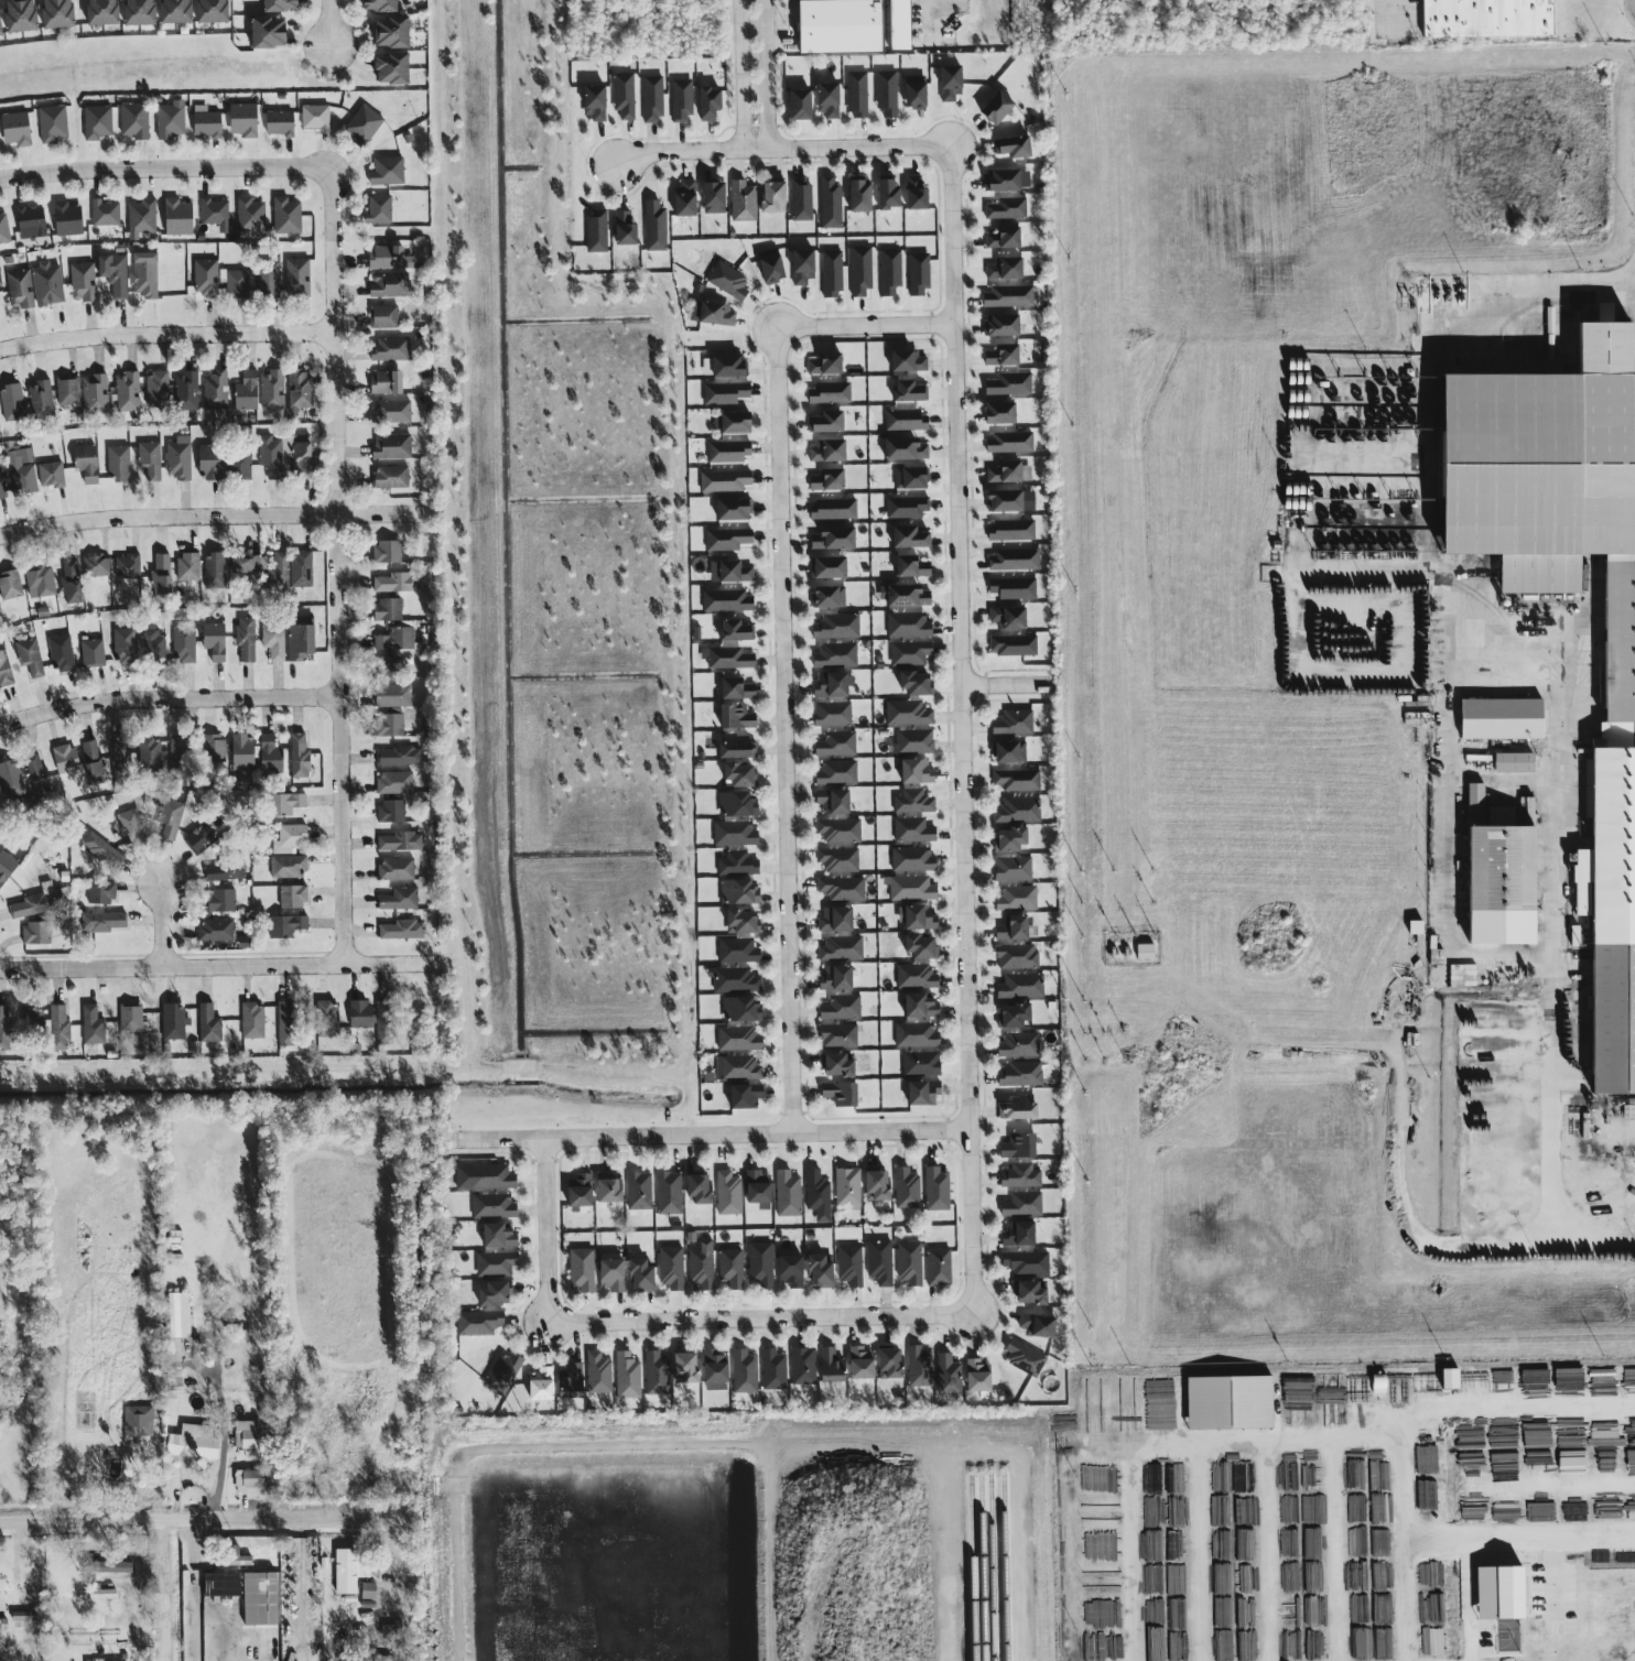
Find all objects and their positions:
building: (277, 2)
building: (381, 6)
building: (99, 10)
building: (173, 10)
building: (207, 10)
building: (55, 11)
building: (137, 11)
road: (1396, 12)
building: (18, 14)
road: (934, 15)
building: (1493, 19)
building: (1, 23)
road: (332, 23)
building: (842, 25)
building: (903, 25)
building: (263, 29)
building: (394, 32)
building: (394, 68)
road: (740, 74)
road: (768, 74)
building: (953, 83)
building: (917, 89)
building: (887, 93)
building: (626, 95)
building: (859, 95)
building: (654, 97)
building: (683, 98)
building: (831, 98)
building: (713, 100)
building: (599, 102)
building: (802, 105)
building: (994, 106)
building: (316, 118)
building: (134, 120)
building: (171, 120)
building: (245, 120)
building: (97, 122)
building: (280, 122)
building: (53, 123)
building: (365, 123)
building: (208, 124)
building: (17, 129)
building: (1016, 145)
road: (782, 146)
road: (166, 163)
building: (387, 171)
building: (1006, 180)
building: (885, 185)
building: (856, 189)
building: (914, 189)
building: (715, 196)
building: (775, 196)
building: (686, 197)
building: (803, 197)
building: (744, 198)
building: (831, 200)
building: (1007, 208)
building: (379, 209)
building: (215, 211)
building: (105, 213)
building: (286, 216)
building: (178, 217)
building: (250, 217)
building: (142, 218)
building: (31, 219)
building: (68, 219)
building: (658, 224)
building: (625, 227)
building: (599, 228)
building: (4, 229)
building: (1008, 237)
building: (390, 258)
building: (804, 265)
building: (773, 267)
building: (1007, 267)
building: (862, 269)
building: (835, 272)
building: (891, 272)
building: (922, 272)
building: (115, 274)
building: (145, 274)
building: (206, 276)
building: (299, 276)
building: (728, 280)
building: (268, 281)
building: (84, 282)
building: (47, 284)
building: (238, 284)
building: (388, 284)
building: (21, 289)
building: (1009, 294)
road: (1545, 310)
building: (714, 313)
building: (385, 317)
building: (1004, 325)
road: (165, 333)
building: (391, 348)
building: (1006, 355)
building: (910, 359)
building: (827, 362)
building: (729, 365)
building: (388, 383)
building: (1010, 383)
building: (301, 387)
building: (158, 390)
building: (272, 390)
building: (910, 390)
building: (68, 391)
building: (186, 391)
building: (215, 391)
building: (248, 391)
building: (128, 392)
building: (727, 392)
building: (831, 393)
building: (95, 394)
building: (41, 401)
building: (12, 402)
building: (391, 412)
building: (1000, 412)
building: (909, 419)
building: (827, 420)
building: (736, 421)
building: (1009, 441)
building: (392, 446)
building: (907, 447)
building: (831, 449)
building: (730, 450)
building: (1536, 455)
building: (271, 457)
building: (178, 458)
building: (150, 459)
building: (304, 459)
building: (212, 462)
building: (87, 463)
building: (119, 463)
building: (240, 465)
building: (21, 469)
building: (1010, 470)
building: (52, 475)
building: (391, 477)
building: (912, 477)
building: (830, 479)
building: (726, 480)
building: (2, 487)
building: (1006, 501)
building: (910, 506)
building: (734, 508)
building: (833, 509)
road: (378, 513)
road: (166, 514)
building: (1011, 529)
building: (912, 535)
building: (835, 536)
building: (730, 539)
building: (388, 553)
building: (1015, 560)
building: (97, 566)
building: (128, 567)
building: (188, 567)
building: (832, 567)
building: (913, 567)
building: (280, 568)
road: (336, 569)
building: (215, 572)
building: (730, 572)
building: (161, 575)
building: (41, 582)
building: (72, 582)
building: (398, 583)
building: (11, 585)
building: (1014, 588)
building: (906, 596)
building: (830, 597)
building: (727, 601)
building: (0, 609)
building: (389, 609)
building: (1009, 617)
building: (909, 625)
building: (838, 627)
building: (737, 631)
building: (247, 639)
building: (302, 639)
building: (274, 640)
building: (397, 640)
road: (784, 640)
building: (215, 641)
building: (184, 644)
building: (123, 645)
building: (151, 645)
building: (1014, 645)
building: (62, 652)
building: (93, 652)
building: (910, 653)
building: (836, 655)
building: (30, 656)
building: (728, 659)
building: (388, 666)
building: (4, 671)
building: (918, 683)
building: (834, 685)
road: (1007, 687)
building: (739, 690)
road: (167, 696)
building: (394, 696)
building: (908, 713)
building: (833, 714)
building: (737, 717)
building: (1506, 719)
building: (1015, 723)
building: (390, 725)
road: (963, 729)
building: (913, 742)
building: (837, 745)
building: (215, 747)
building: (739, 747)
building: (180, 751)
building: (1011, 752)
building: (245, 753)
building: (152, 754)
building: (271, 756)
building: (300, 756)
building: (400, 756)
building: (67, 759)
building: (120, 759)
building: (94, 762)
building: (1518, 762)
building: (918, 772)
building: (837, 773)
building: (741, 774)
building: (11, 780)
building: (1017, 780)
building: (393, 795)
road: (1448, 795)
building: (835, 802)
building: (913, 802)
building: (289, 804)
building: (738, 804)
building: (1019, 811)
building: (170, 819)
building: (133, 828)
building: (840, 830)
building: (913, 830)
building: (735, 834)
building: (291, 838)
building: (1011, 839)
building: (197, 840)
building: (401, 842)
building: (102, 850)
building: (913, 859)
building: (838, 860)
building: (738, 864)
building: (289, 867)
building: (1014, 868)
building: (7, 869)
building: (397, 869)
building: (227, 870)
building: (1505, 877)
building: (843, 889)
building: (912, 889)
building: (102, 892)
building: (740, 892)
building: (293, 897)
building: (400, 899)
building: (1017, 899)
building: (223, 901)
building: (34, 904)
building: (918, 918)
building: (837, 920)
building: (104, 922)
building: (744, 922)
road: (164, 925)
building: (286, 926)
building: (1418, 927)
building: (1015, 929)
building: (402, 930)
building: (216, 931)
building: (37, 933)
building: (923, 947)
building: (842, 948)
building: (738, 952)
building: (1147, 952)
building: (1017, 956)
road: (215, 965)
building: (917, 977)
building: (837, 978)
building: (735, 980)
road: (1551, 980)
building: (1022, 987)
building: (922, 1006)
building: (841, 1008)
building: (743, 1010)
building: (361, 1014)
building: (1016, 1016)
building: (131, 1018)
building: (327, 1019)
building: (32, 1021)
building: (173, 1021)
building: (253, 1021)
building: (385, 1021)
building: (286, 1023)
building: (209, 1024)
building: (94, 1025)
building: (6, 1028)
building: (59, 1029)
building: (840, 1035)
building: (917, 1035)
building: (738, 1039)
building: (1020, 1044)
building: (922, 1064)
building: (840, 1066)
building: (738, 1068)
building: (1021, 1074)
building: (924, 1093)
building: (843, 1094)
building: (746, 1096)
building: (1020, 1108)
road: (712, 1135)
building: (1021, 1146)
building: (1021, 1175)
building: (485, 1176)
building: (879, 1184)
building: (848, 1186)
building: (611, 1187)
building: (908, 1187)
building: (701, 1188)
building: (759, 1188)
building: (938, 1188)
building: (640, 1190)
building: (582, 1191)
building: (670, 1192)
building: (729, 1193)
building: (788, 1193)
building: (819, 1194)
building: (1022, 1204)
building: (494, 1205)
road: (1404, 1211)
building: (1020, 1233)
building: (500, 1235)
building: (880, 1261)
building: (910, 1262)
building: (1028, 1262)
building: (496, 1263)
building: (760, 1264)
building: (851, 1264)
building: (702, 1266)
building: (672, 1267)
building: (939, 1267)
building: (732, 1268)
building: (583, 1269)
building: (792, 1270)
building: (822, 1270)
building: (614, 1274)
building: (642, 1274)
building: (1031, 1292)
building: (496, 1293)
building: (178, 1315)
road: (669, 1321)
building: (480, 1322)
building: (1039, 1324)
building: (1026, 1358)
building: (892, 1361)
building: (863, 1363)
building: (803, 1365)
building: (832, 1366)
building: (919, 1366)
building: (687, 1367)
building: (773, 1369)
building: (716, 1370)
building: (745, 1370)
building: (504, 1372)
building: (598, 1372)
building: (657, 1372)
building: (628, 1375)
building: (949, 1375)
building: (978, 1375)
building: (1453, 1378)
building: (572, 1381)
building: (543, 1383)
building: (1233, 1401)
road: (1513, 1412)
building: (138, 1423)
road: (223, 1433)
building: (247, 1434)
building: (194, 1444)
road: (1184, 1452)
building: (248, 1478)
road: (201, 1521)
road: (1520, 1541)
road: (1270, 1554)
road: (1335, 1554)
road: (1201, 1556)
road: (1134, 1557)
road: (307, 1560)
building: (350, 1571)
road: (1555, 1587)
road: (162, 1592)
road: (194, 1592)
building: (1505, 1592)
building: (249, 1593)
building: (98, 1594)
road: (1408, 1603)
building: (24, 1616)

